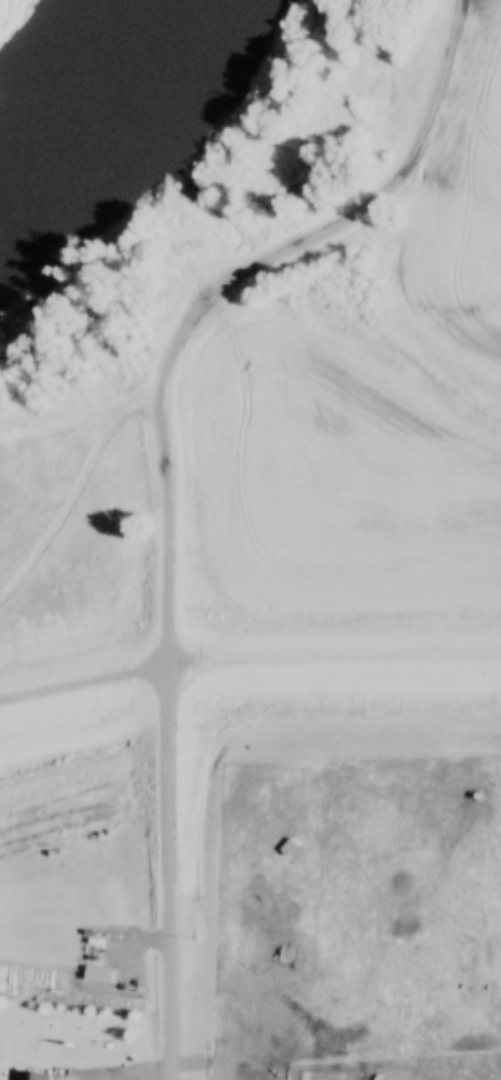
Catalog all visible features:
river: (93, 101)
road: (226, 284)
road: (334, 663)
road: (170, 869)
building: (31, 1075)

